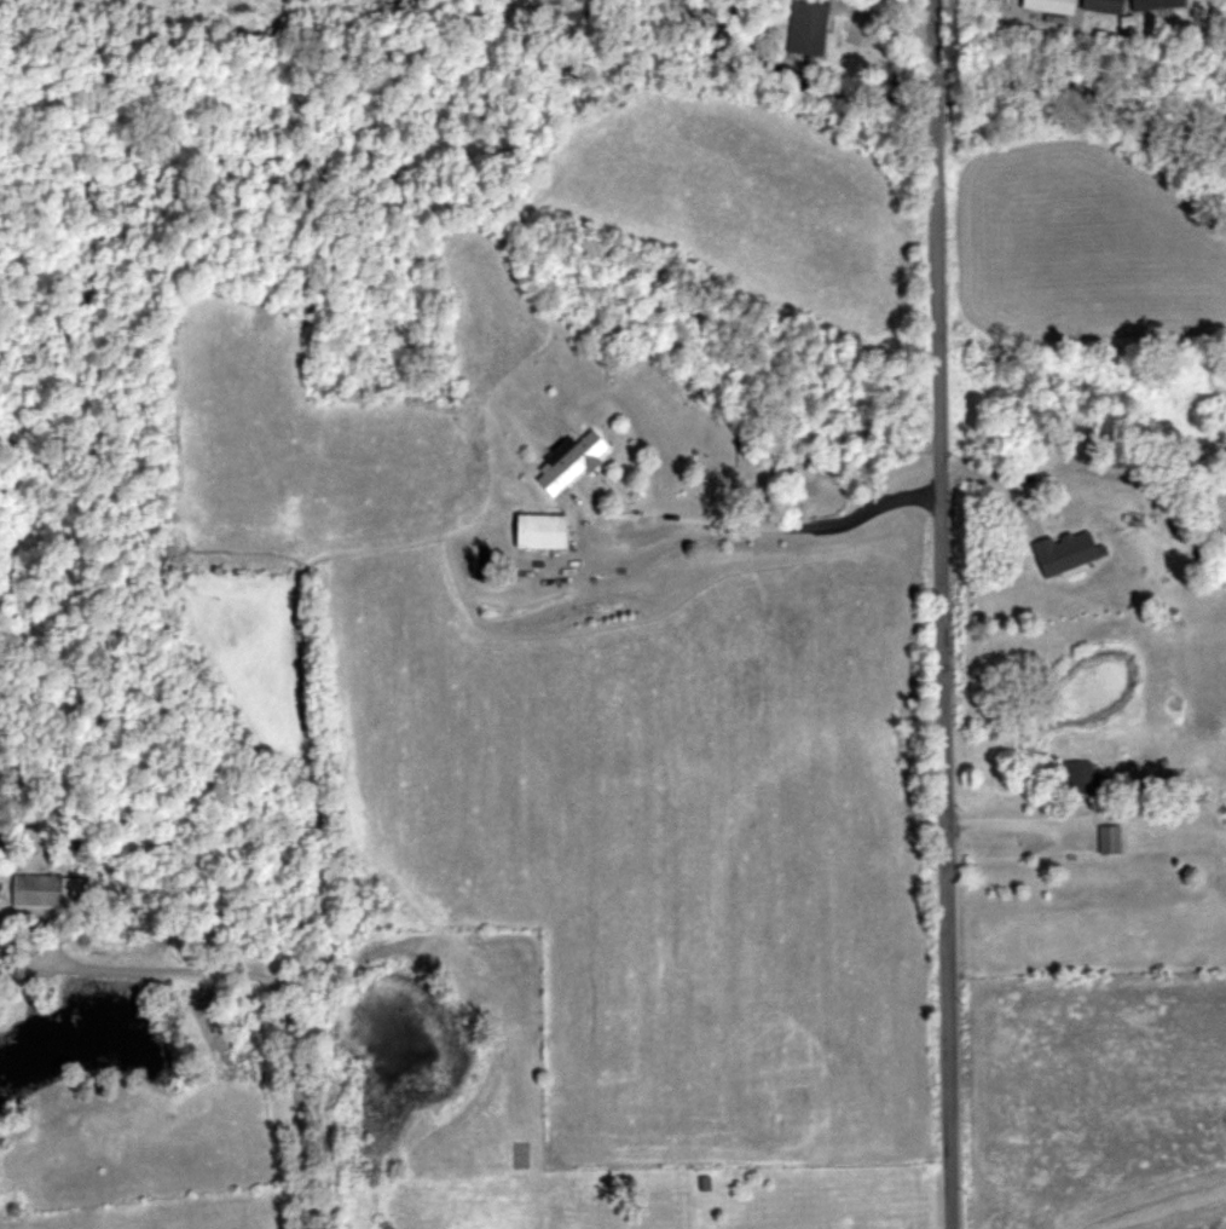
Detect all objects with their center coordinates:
building: (1158, 4)
building: (1053, 5)
building: (1106, 5)
building: (809, 27)
building: (576, 461)
road: (756, 521)
building: (544, 531)
road: (939, 613)
building: (1114, 839)
building: (37, 892)
road: (272, 971)

